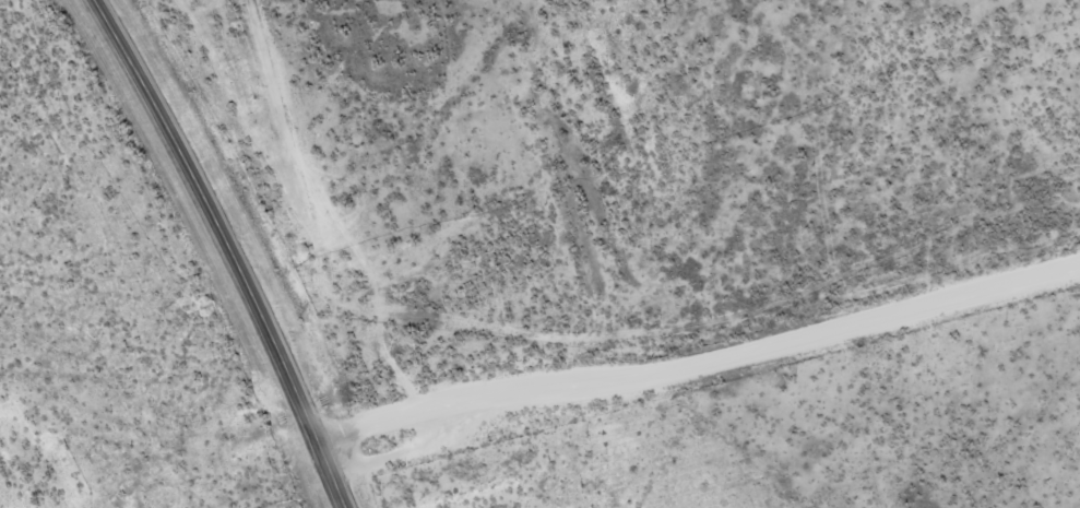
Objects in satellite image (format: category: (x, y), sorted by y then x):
road: (227, 248)
road: (699, 358)

